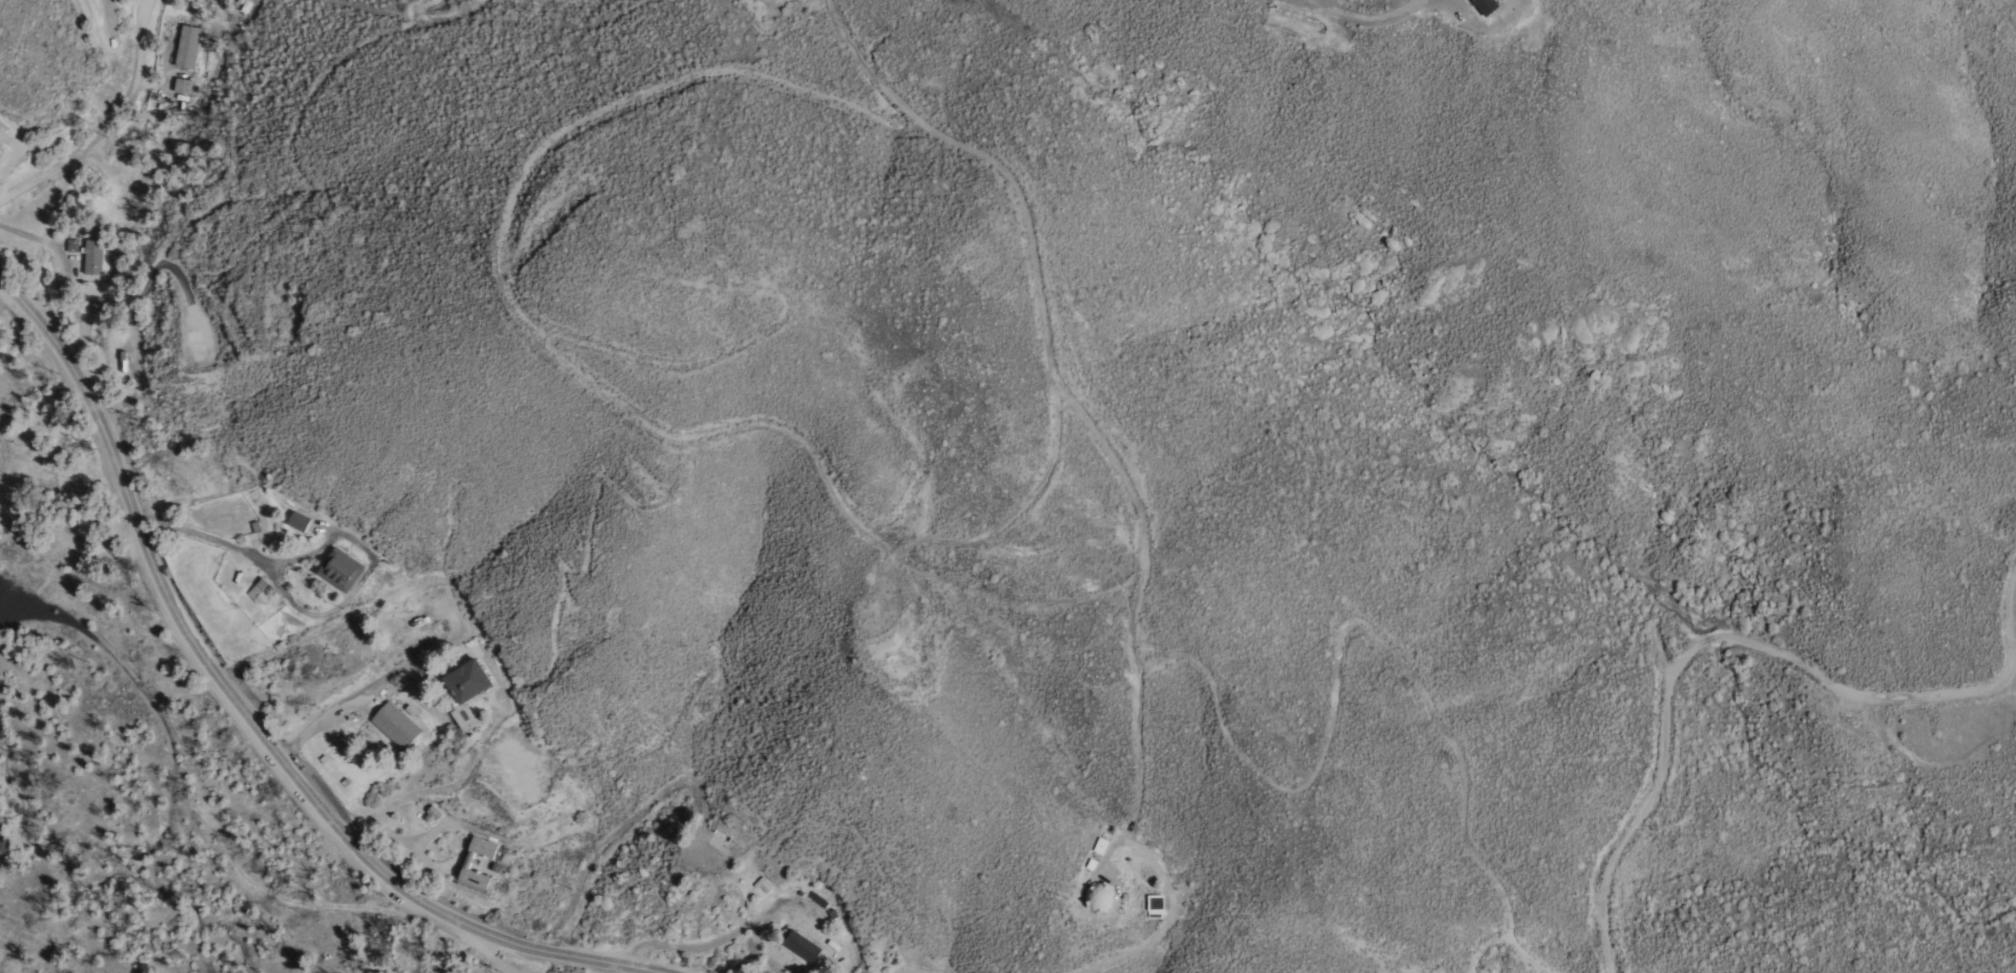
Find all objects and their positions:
building: (771, 0)
building: (1476, 7)
road: (1359, 20)
building: (186, 46)
road: (106, 124)
building: (96, 258)
building: (339, 569)
road: (305, 612)
road: (1732, 642)
building: (464, 681)
road: (363, 692)
road: (250, 720)
building: (394, 724)
building: (431, 814)
building: (466, 864)
road: (476, 944)
building: (800, 945)
road: (1138, 948)
road: (637, 970)

